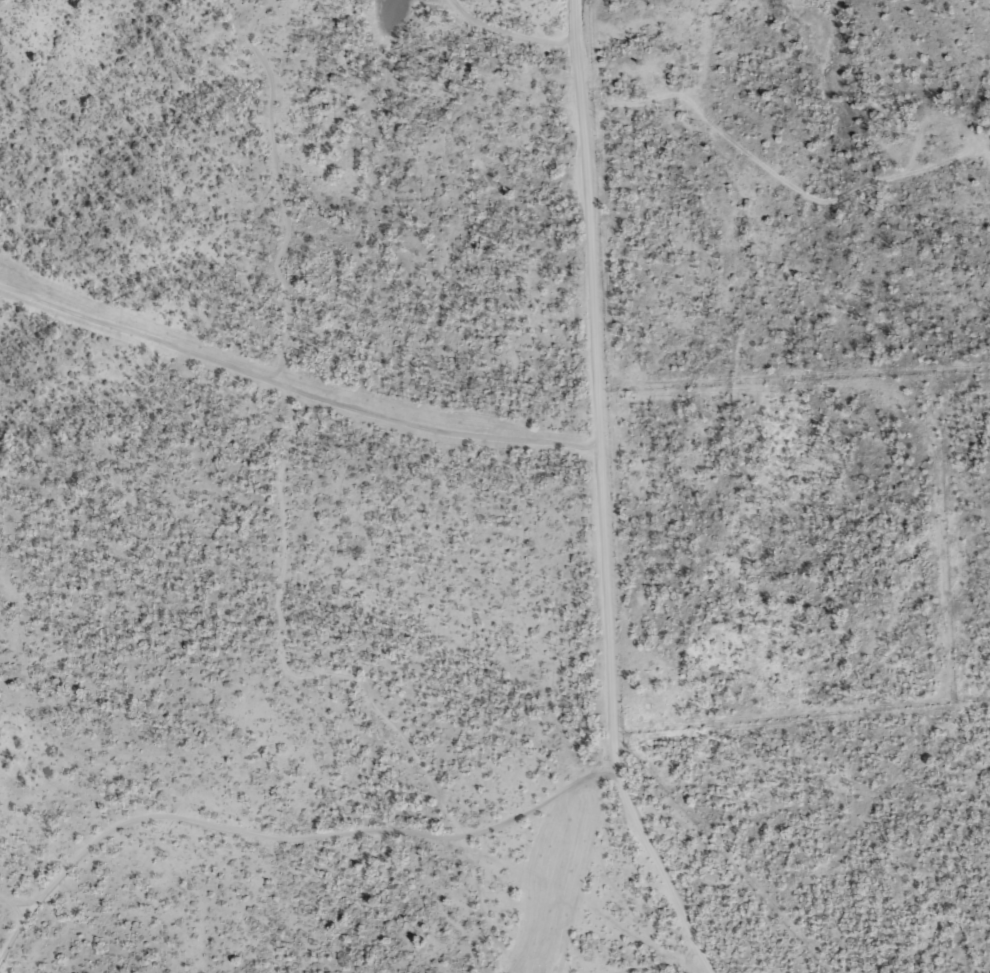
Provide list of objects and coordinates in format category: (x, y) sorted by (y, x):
road: (620, 491)
road: (311, 857)
road: (559, 921)

